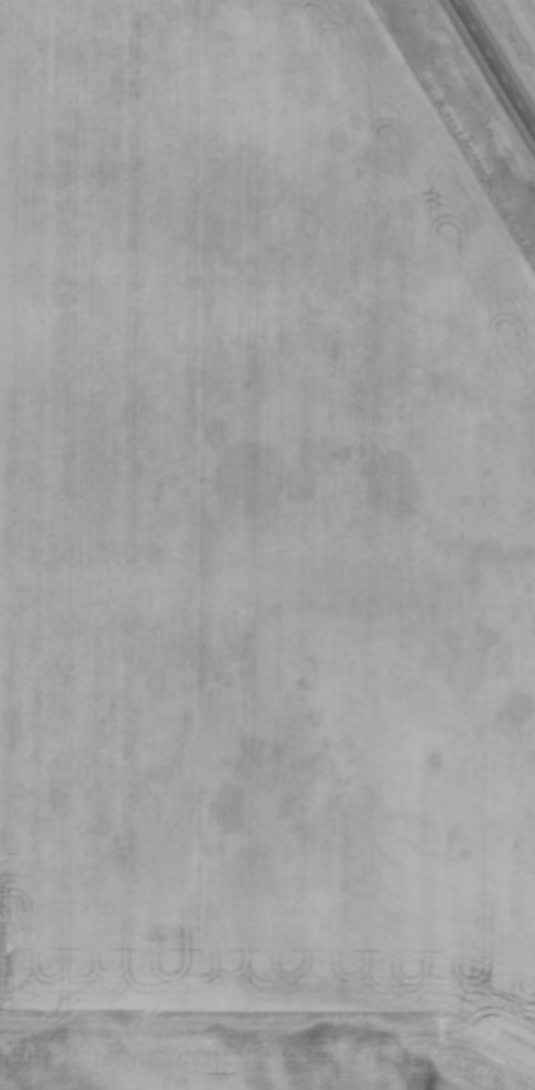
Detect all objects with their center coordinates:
road: (528, 10)
road: (492, 69)

